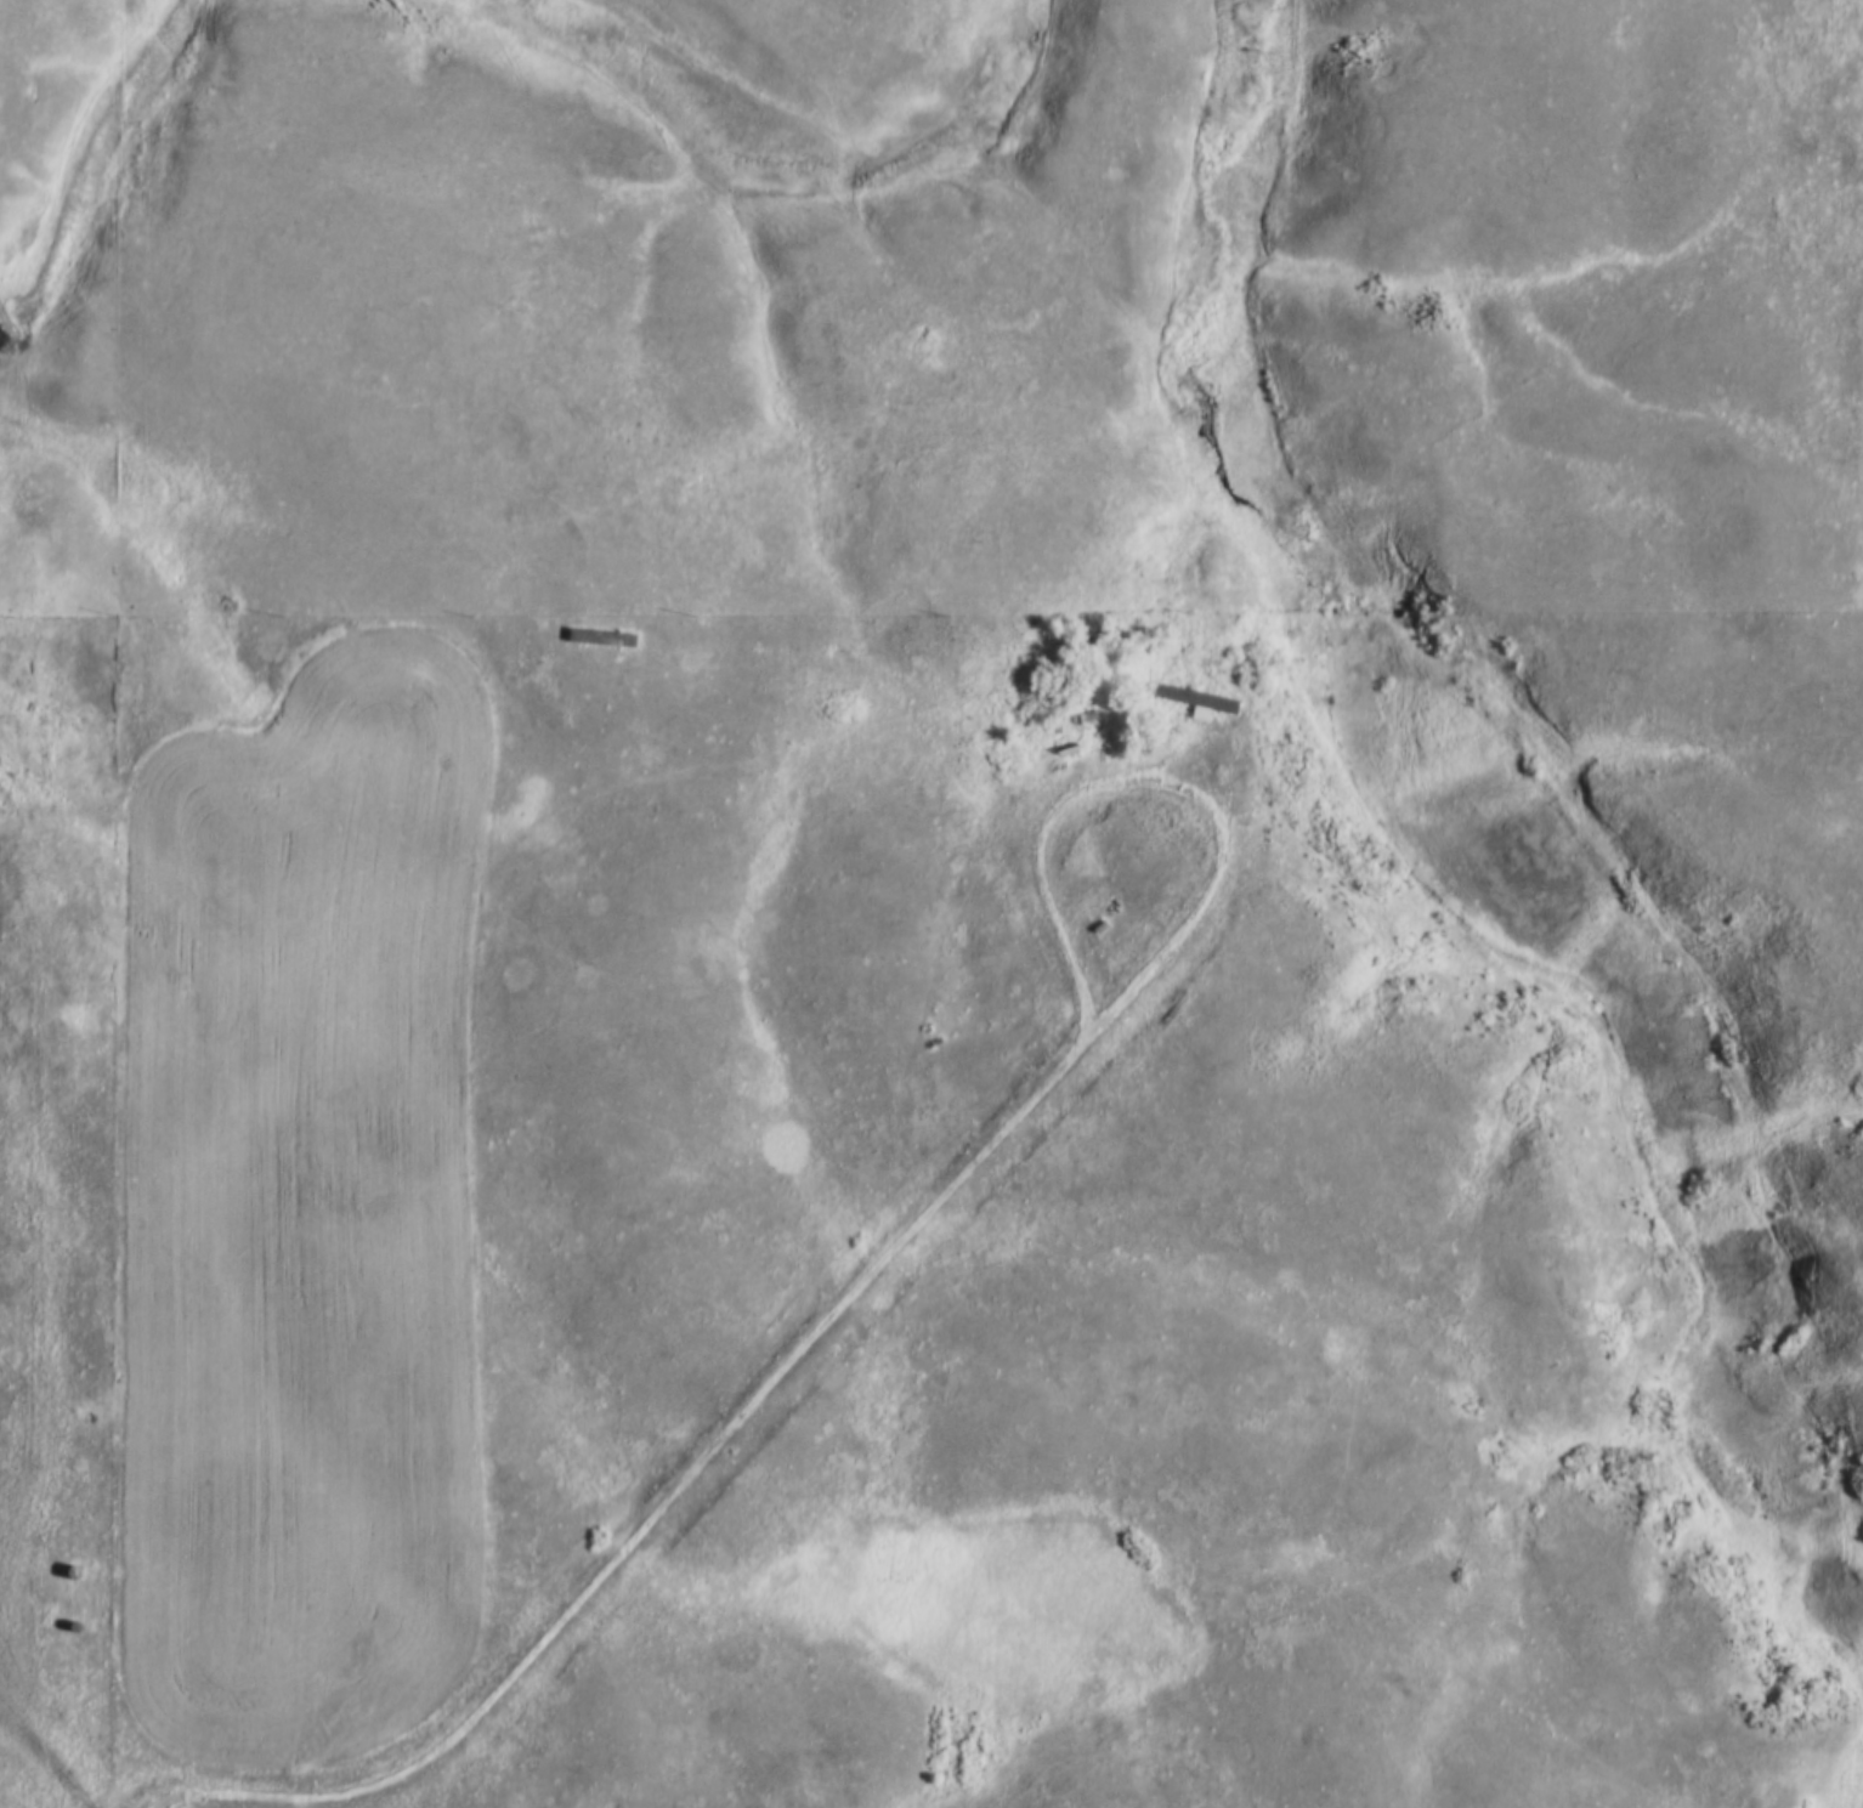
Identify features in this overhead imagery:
building: (600, 637)
building: (1200, 702)
road: (1153, 784)
road: (667, 1507)
road: (45, 1758)

